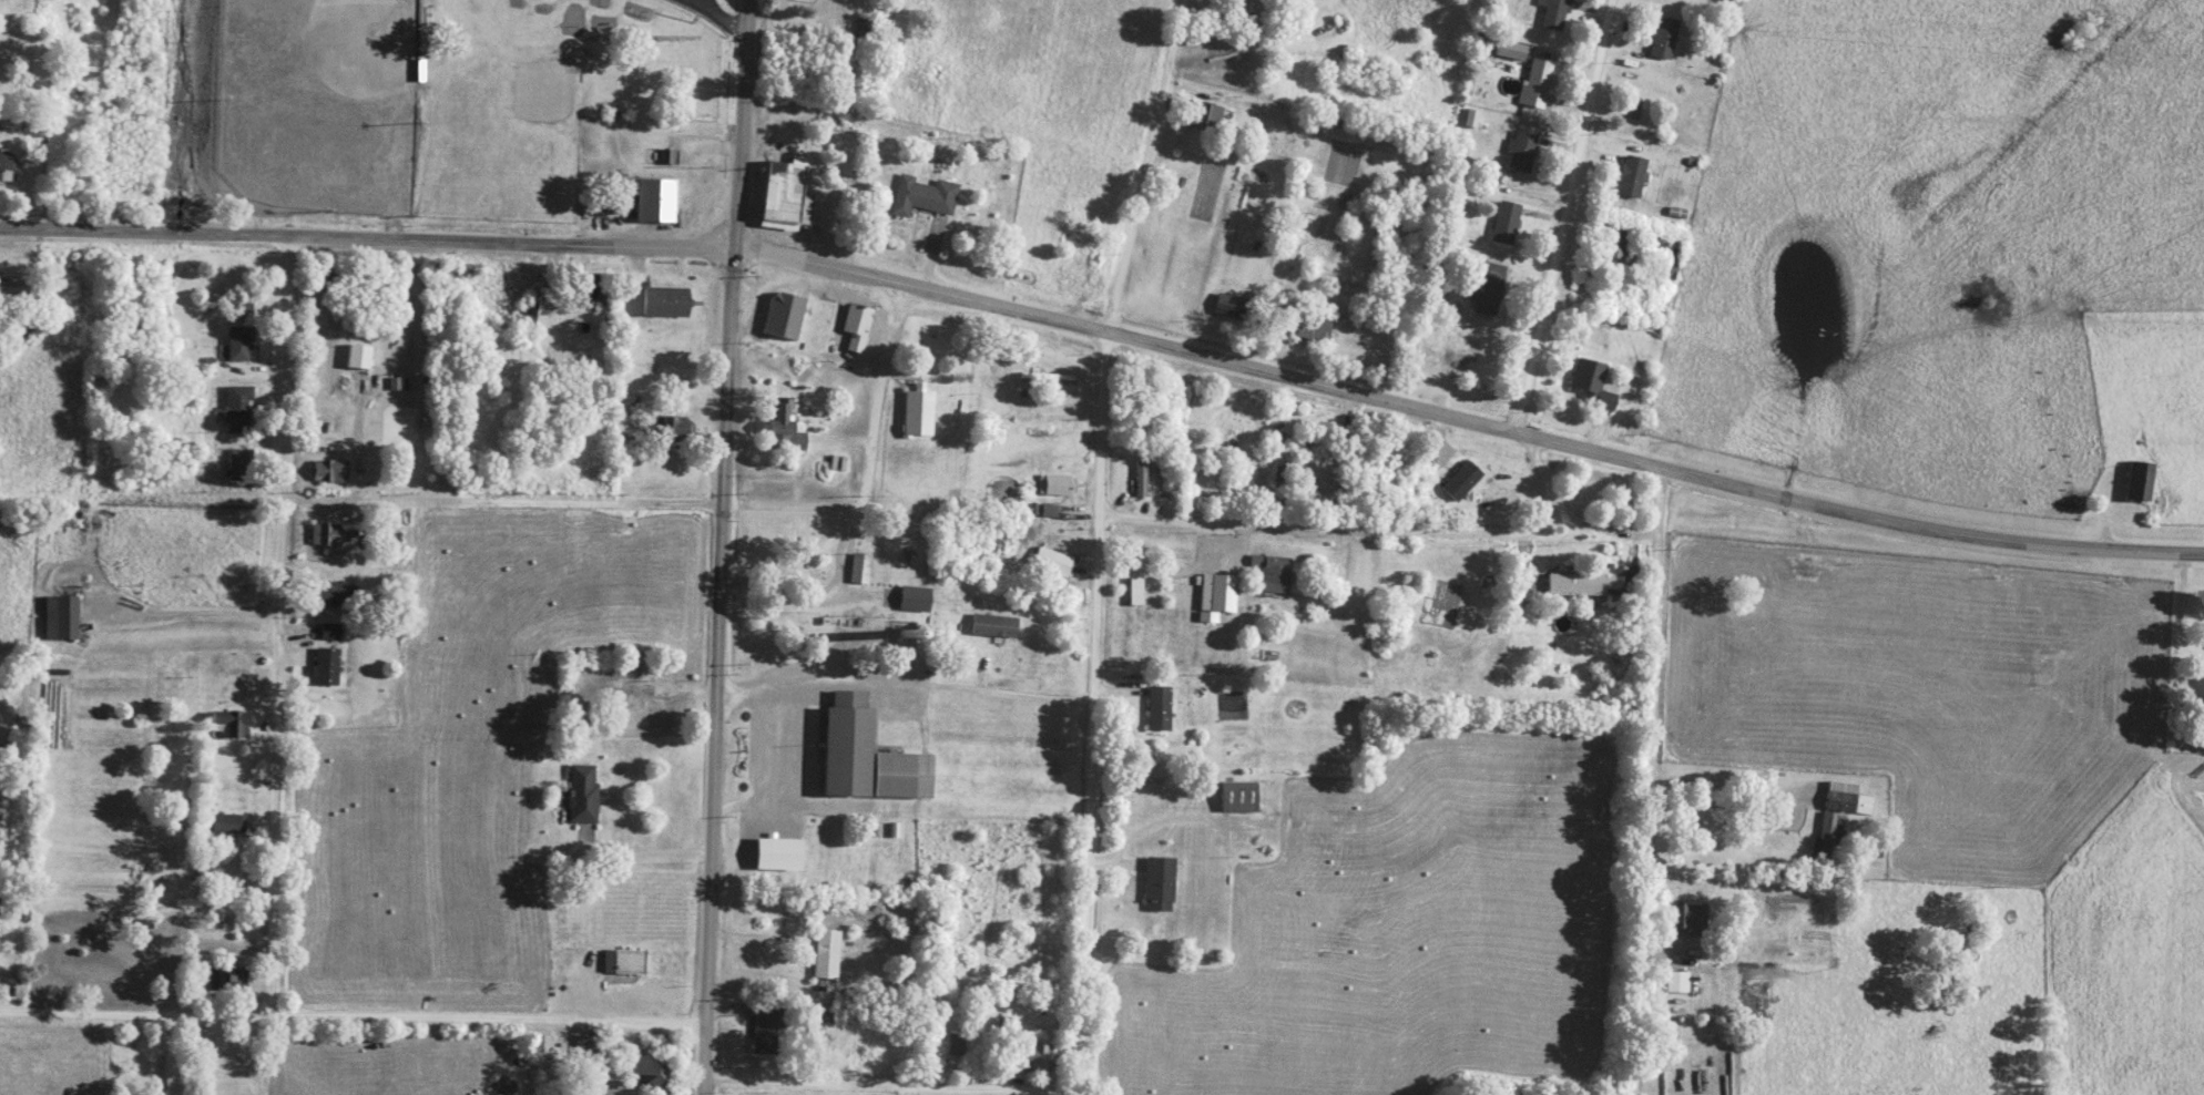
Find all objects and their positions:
building: (475, 4)
building: (1554, 13)
road: (716, 14)
building: (865, 28)
building: (1664, 38)
building: (1538, 79)
park: (317, 102)
building: (1203, 115)
building: (1521, 150)
building: (6, 162)
building: (1632, 175)
building: (924, 195)
building: (786, 196)
building: (657, 199)
road: (1564, 217)
building: (1506, 222)
building: (1615, 246)
building: (1068, 273)
building: (14, 286)
building: (591, 288)
building: (1489, 288)
building: (666, 300)
building: (1235, 306)
building: (243, 309)
building: (828, 310)
building: (528, 313)
building: (784, 315)
building: (1314, 325)
building: (857, 326)
road: (1109, 335)
building: (239, 342)
building: (359, 356)
building: (1047, 378)
building: (1592, 381)
building: (238, 408)
building: (919, 412)
building: (783, 426)
building: (675, 428)
building: (1310, 443)
building: (241, 463)
building: (176, 465)
road: (1541, 469)
building: (330, 470)
building: (1282, 471)
road: (868, 477)
building: (1141, 477)
building: (1462, 480)
building: (2141, 480)
building: (1058, 483)
road: (1573, 487)
road: (501, 501)
road: (1320, 528)
building: (337, 534)
road: (1098, 542)
road: (720, 546)
building: (1052, 561)
building: (860, 567)
building: (1273, 572)
building: (1594, 582)
building: (1136, 587)
building: (1217, 591)
building: (915, 597)
building: (61, 616)
road: (278, 627)
building: (330, 631)
building: (326, 665)
road: (902, 685)
building: (2194, 692)
building: (657, 706)
building: (1160, 707)
building: (232, 720)
building: (869, 755)
road: (773, 770)
road: (1649, 782)
road: (1733, 789)
building: (583, 791)
building: (1239, 795)
building: (1838, 815)
building: (224, 821)
road: (1173, 821)
road: (634, 854)
building: (764, 856)
building: (1160, 882)
building: (1690, 915)
building: (826, 952)
building: (630, 960)
building: (232, 976)
building: (1677, 980)
road: (351, 1017)
building: (767, 1030)
building: (541, 1045)
building: (585, 1046)
building: (1034, 1057)
building: (652, 1068)
building: (170, 1074)
road: (890, 1084)

